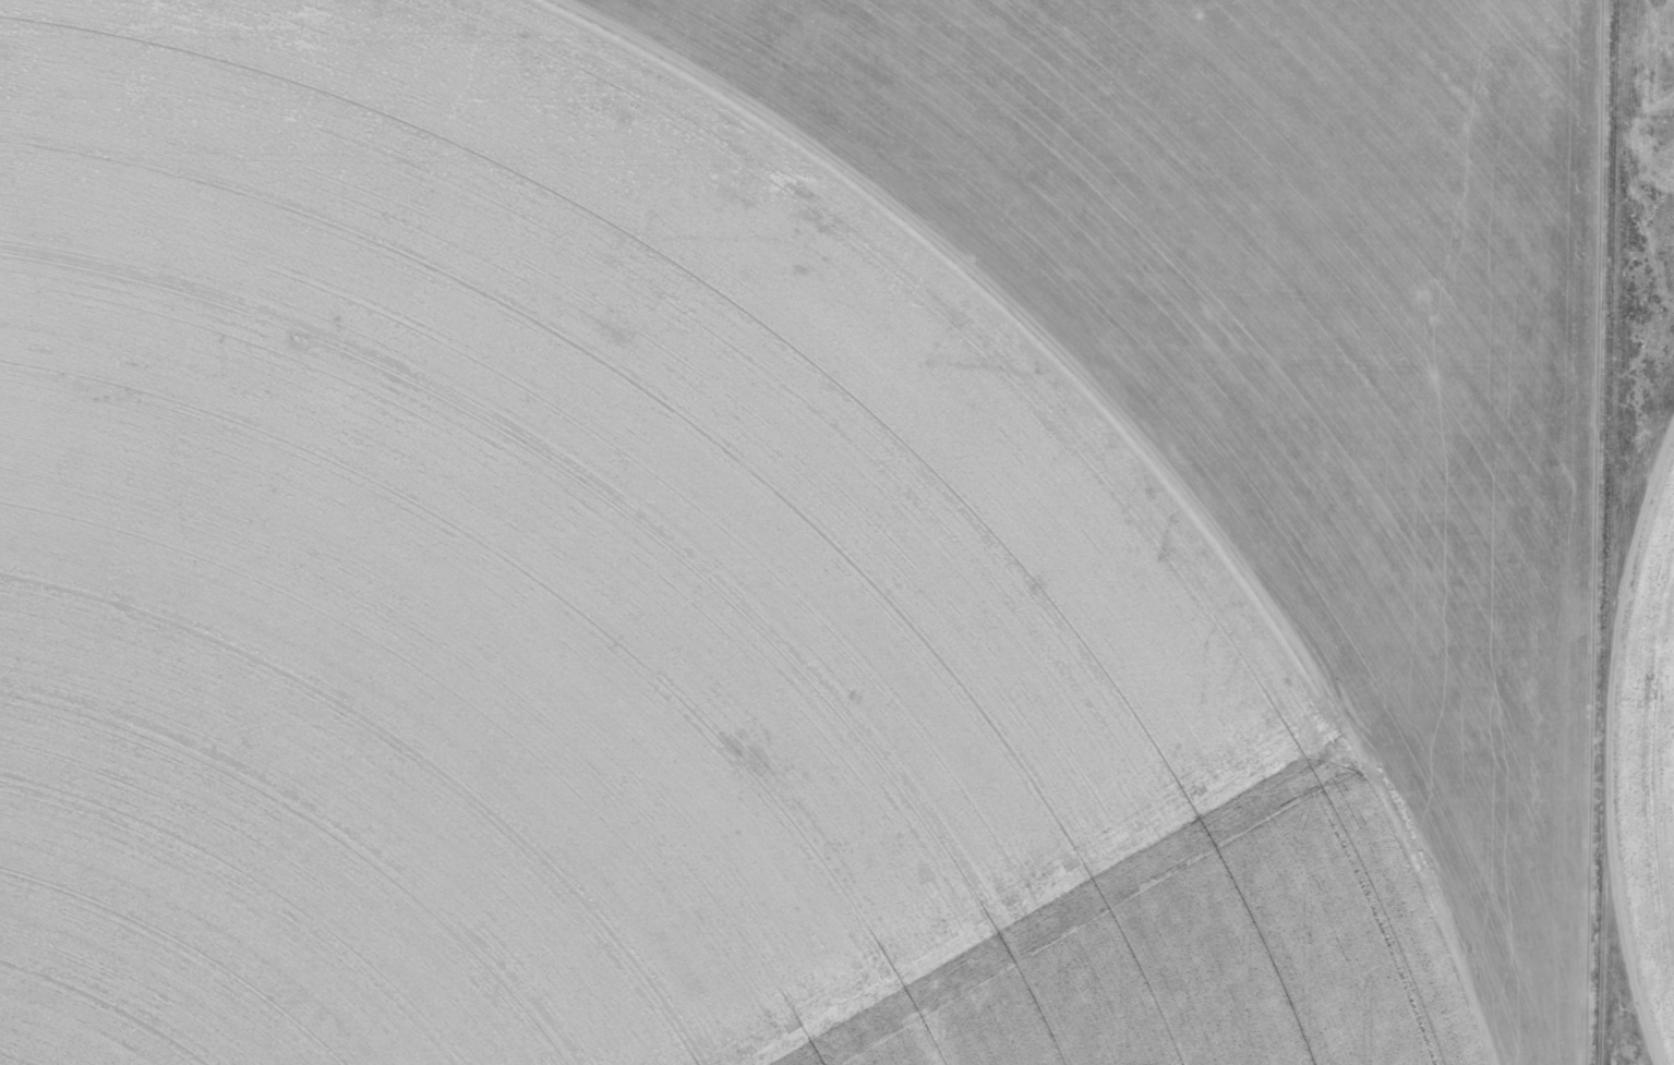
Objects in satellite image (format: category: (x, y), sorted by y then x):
crop: (793, 532)
road: (1585, 532)
crop: (1638, 549)

